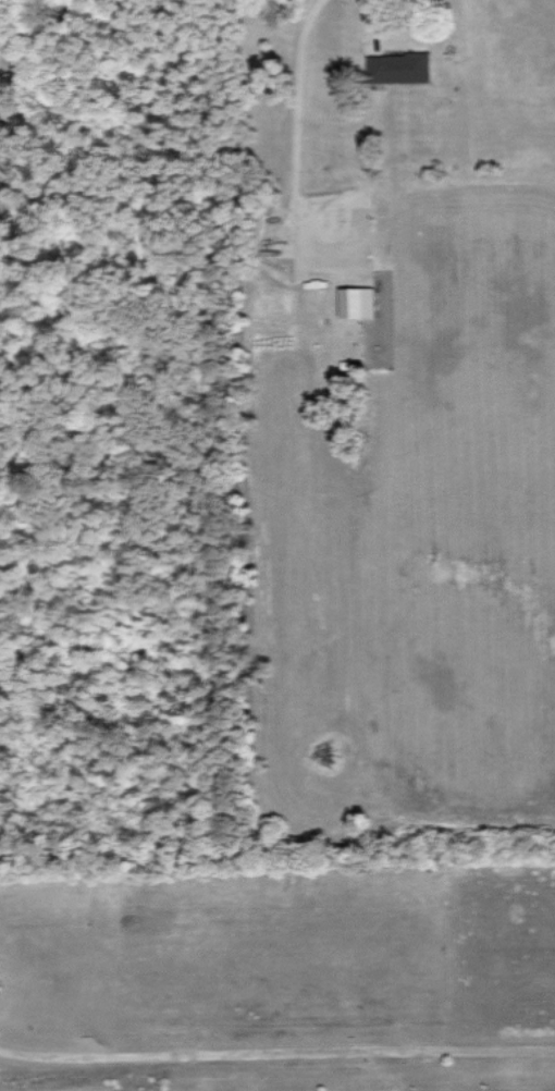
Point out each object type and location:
road: (375, 8)
building: (399, 68)
building: (358, 302)
road: (276, 1054)

